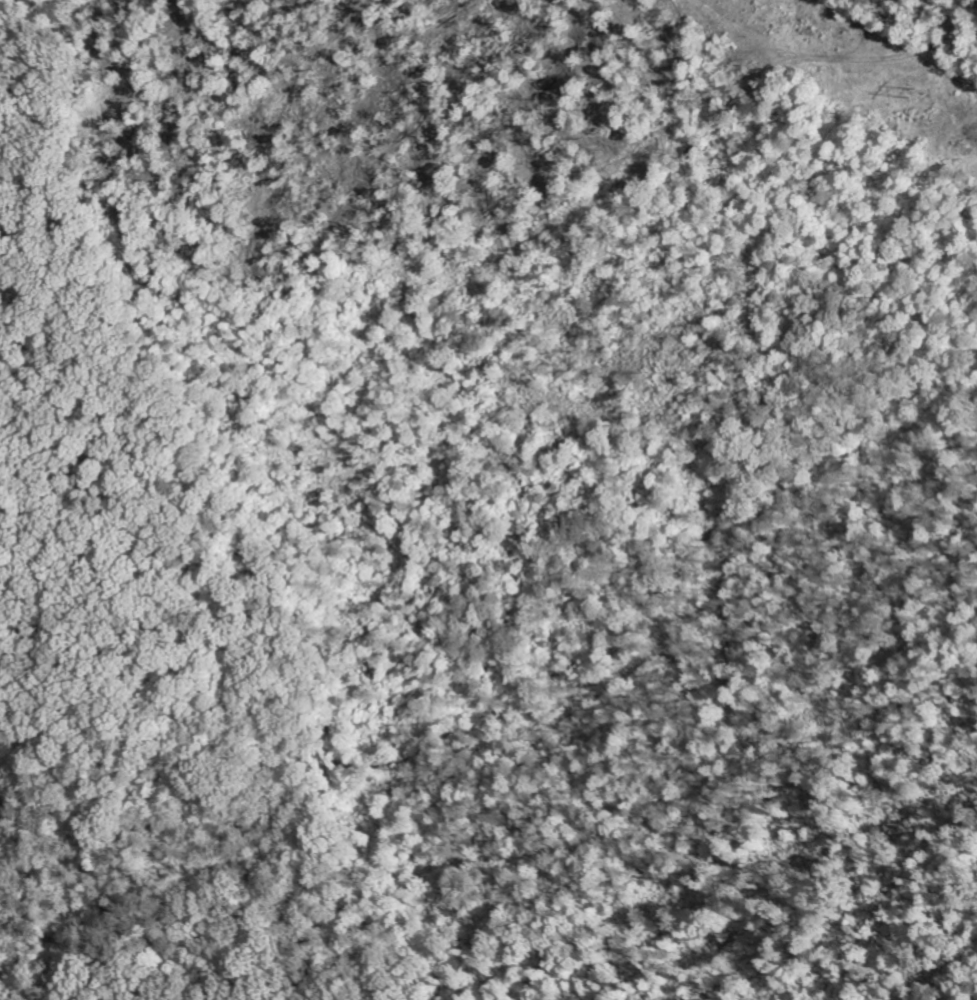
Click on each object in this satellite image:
power tower: (911, 91)

